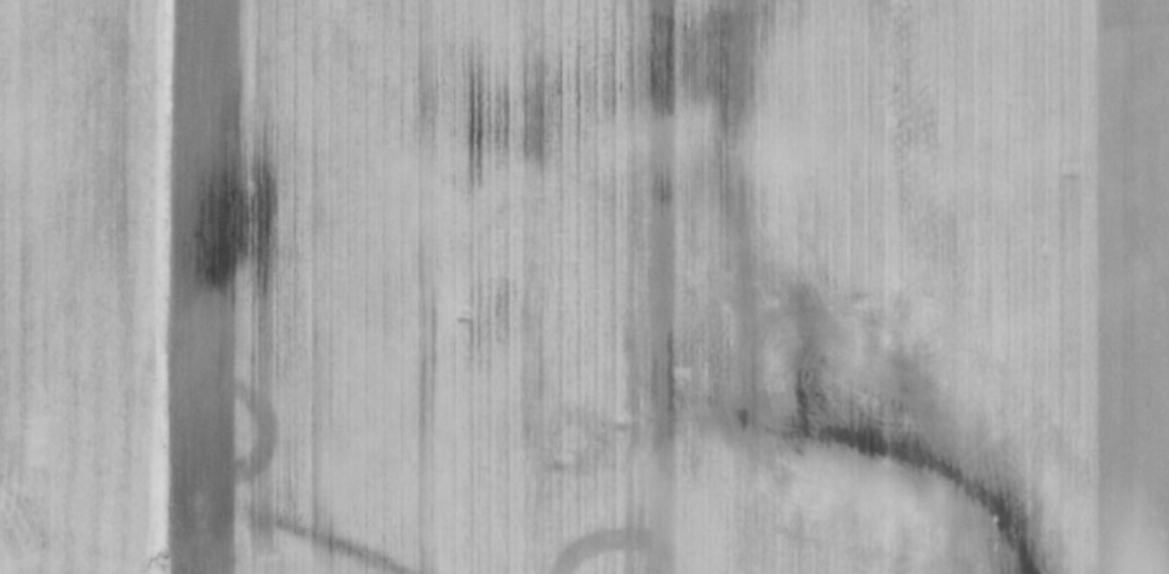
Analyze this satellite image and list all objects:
road: (985, 2)

